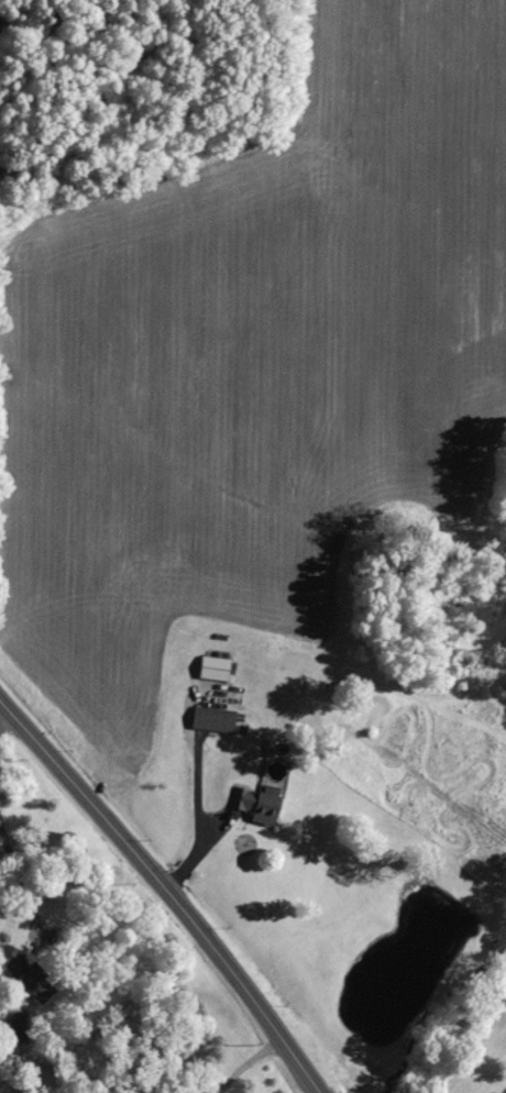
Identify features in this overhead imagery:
building: (216, 667)
building: (215, 719)
building: (262, 804)
road: (199, 815)
road: (169, 890)
road: (240, 1059)

